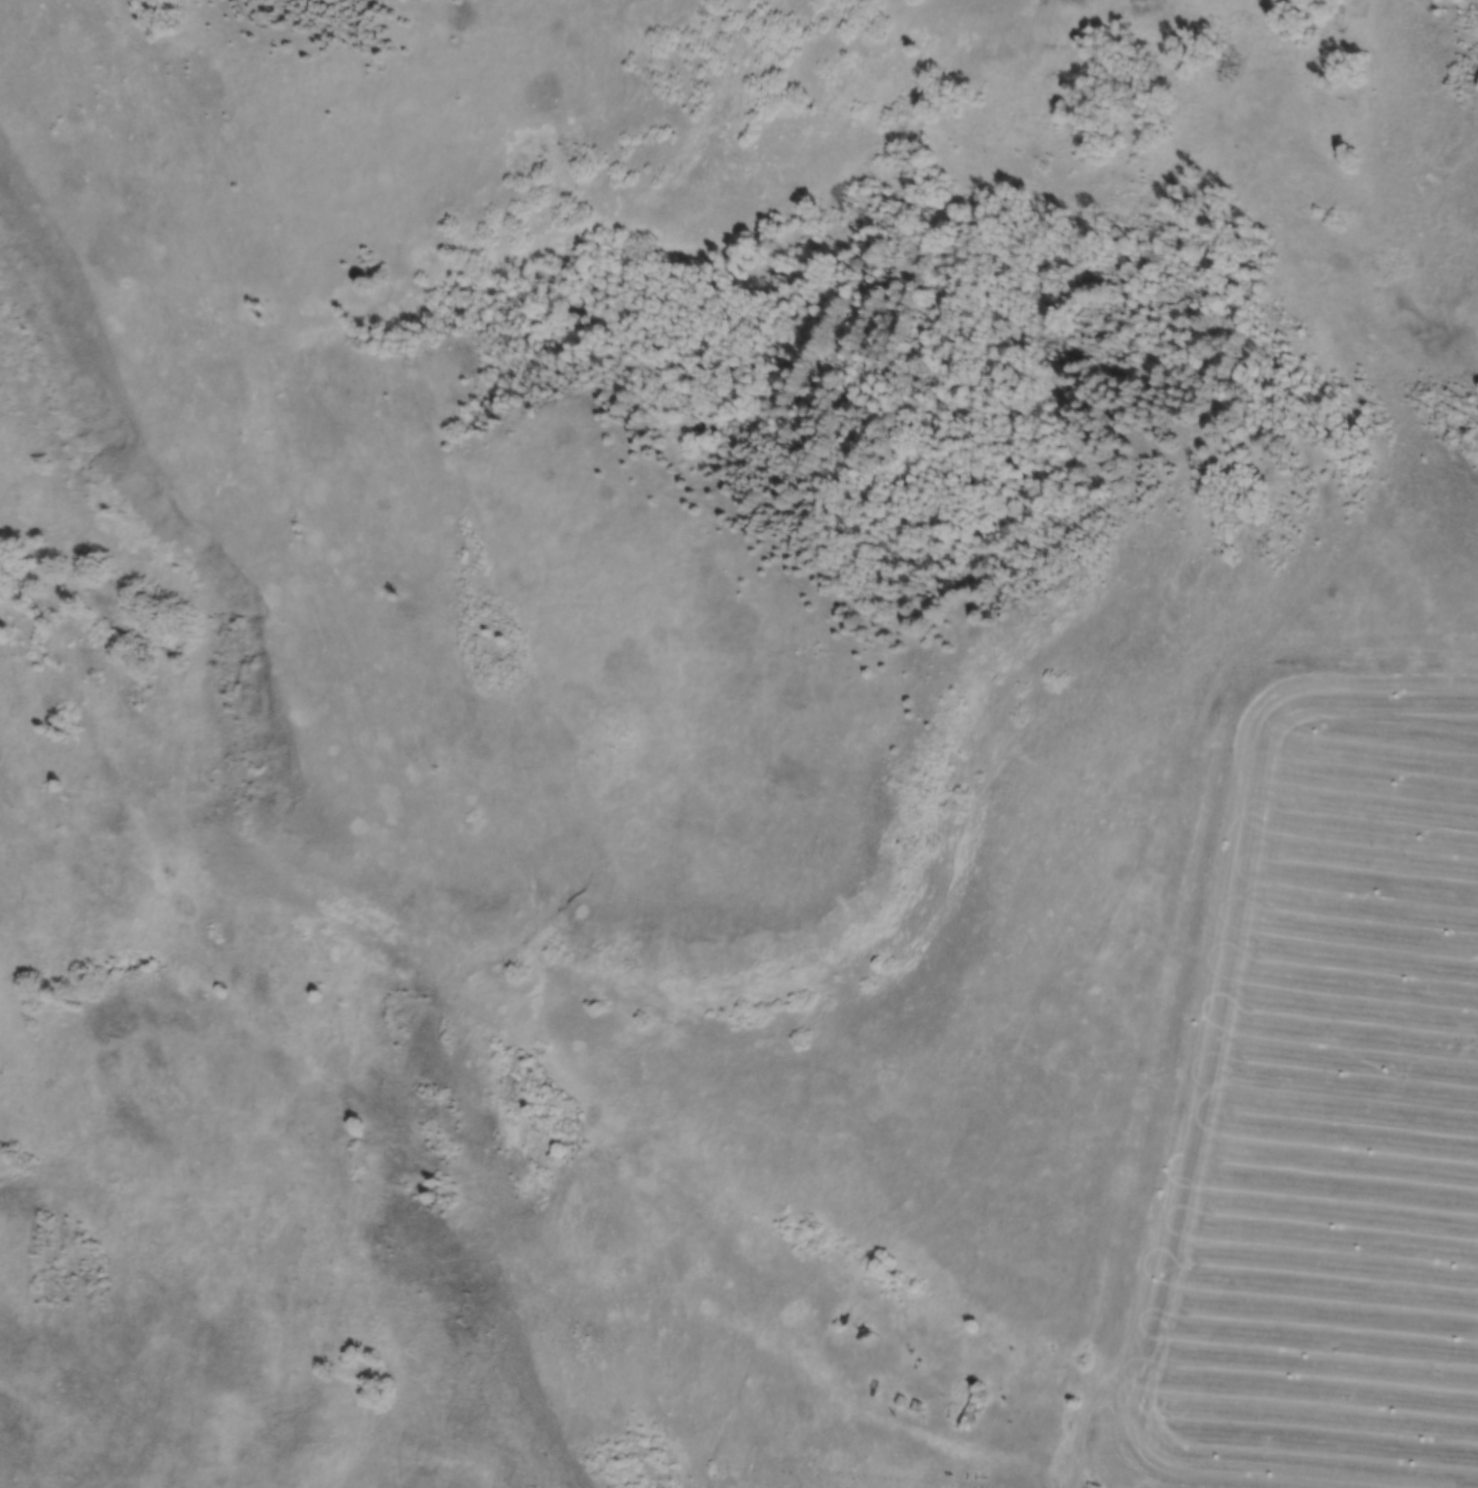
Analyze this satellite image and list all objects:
road: (1079, 1482)

